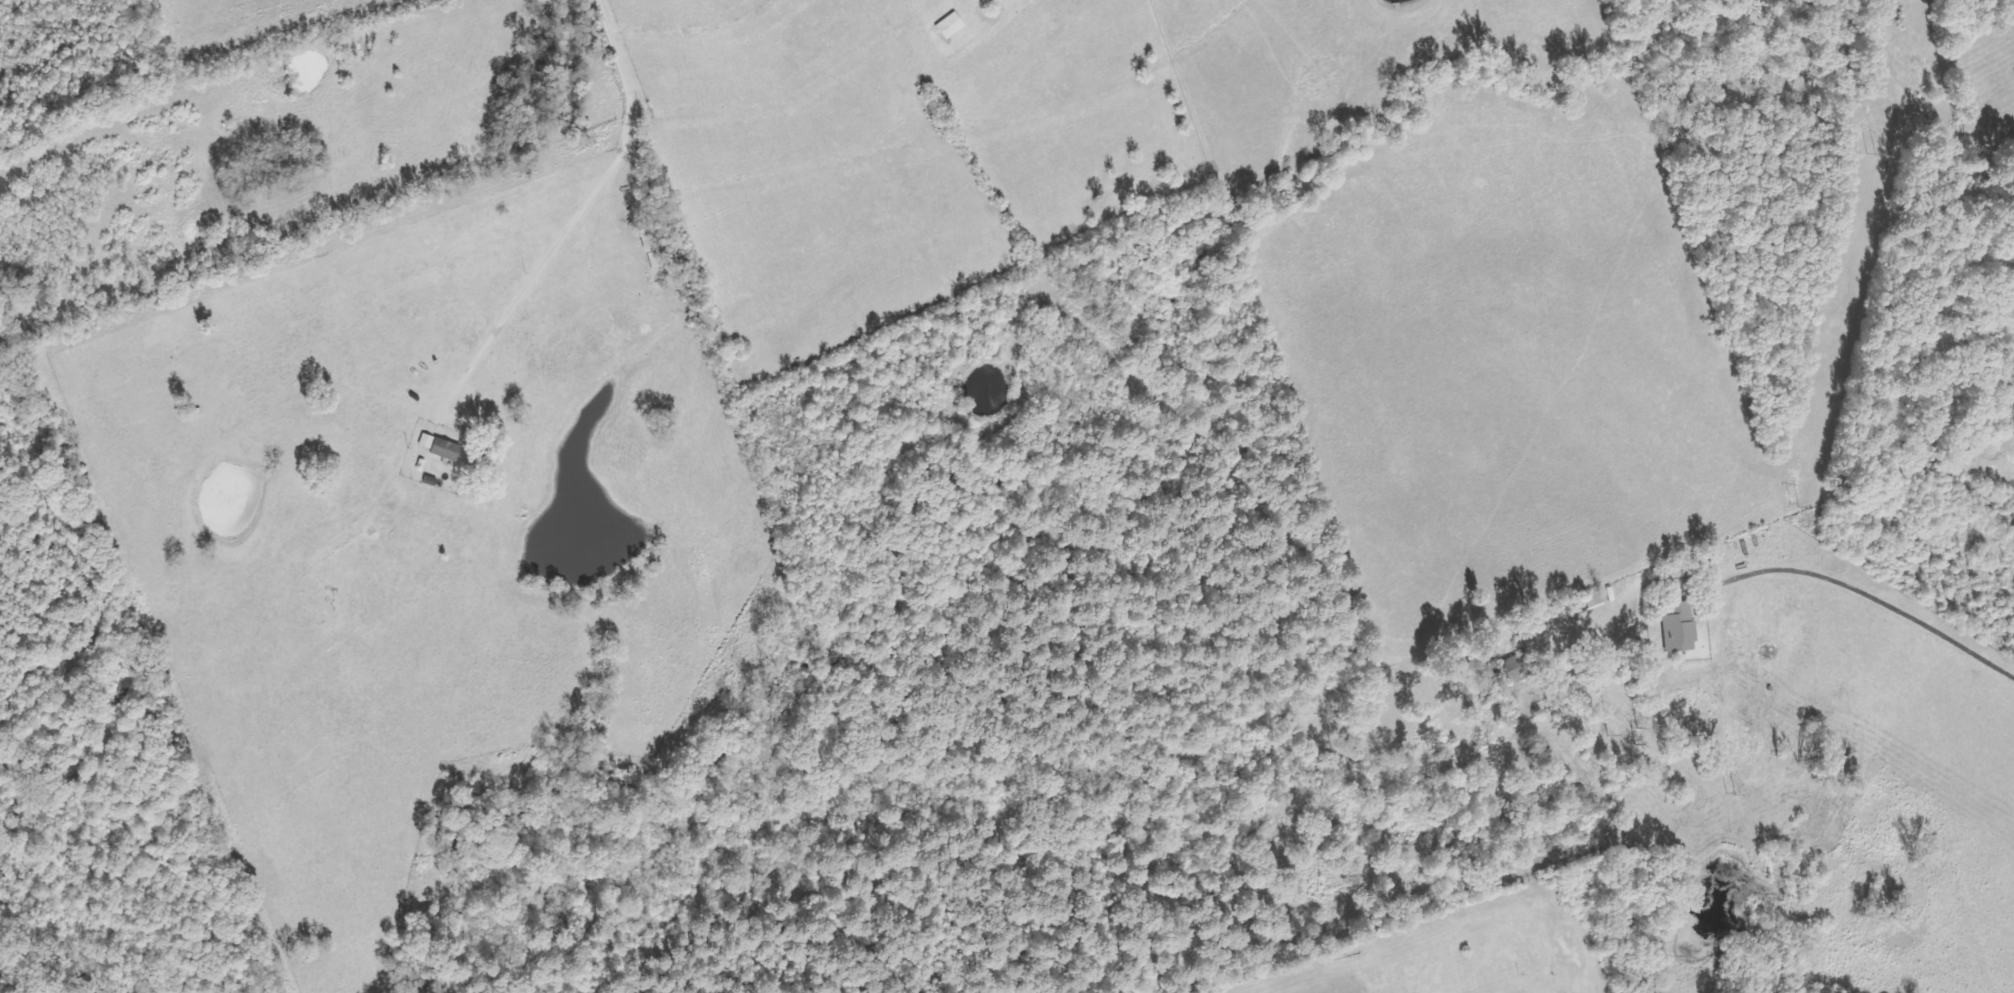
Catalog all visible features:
building: (951, 26)
power tower: (1870, 153)
building: (427, 442)
building: (447, 450)
power tower: (1793, 504)
building: (1680, 628)
building: (1515, 670)
power tower: (1730, 791)

